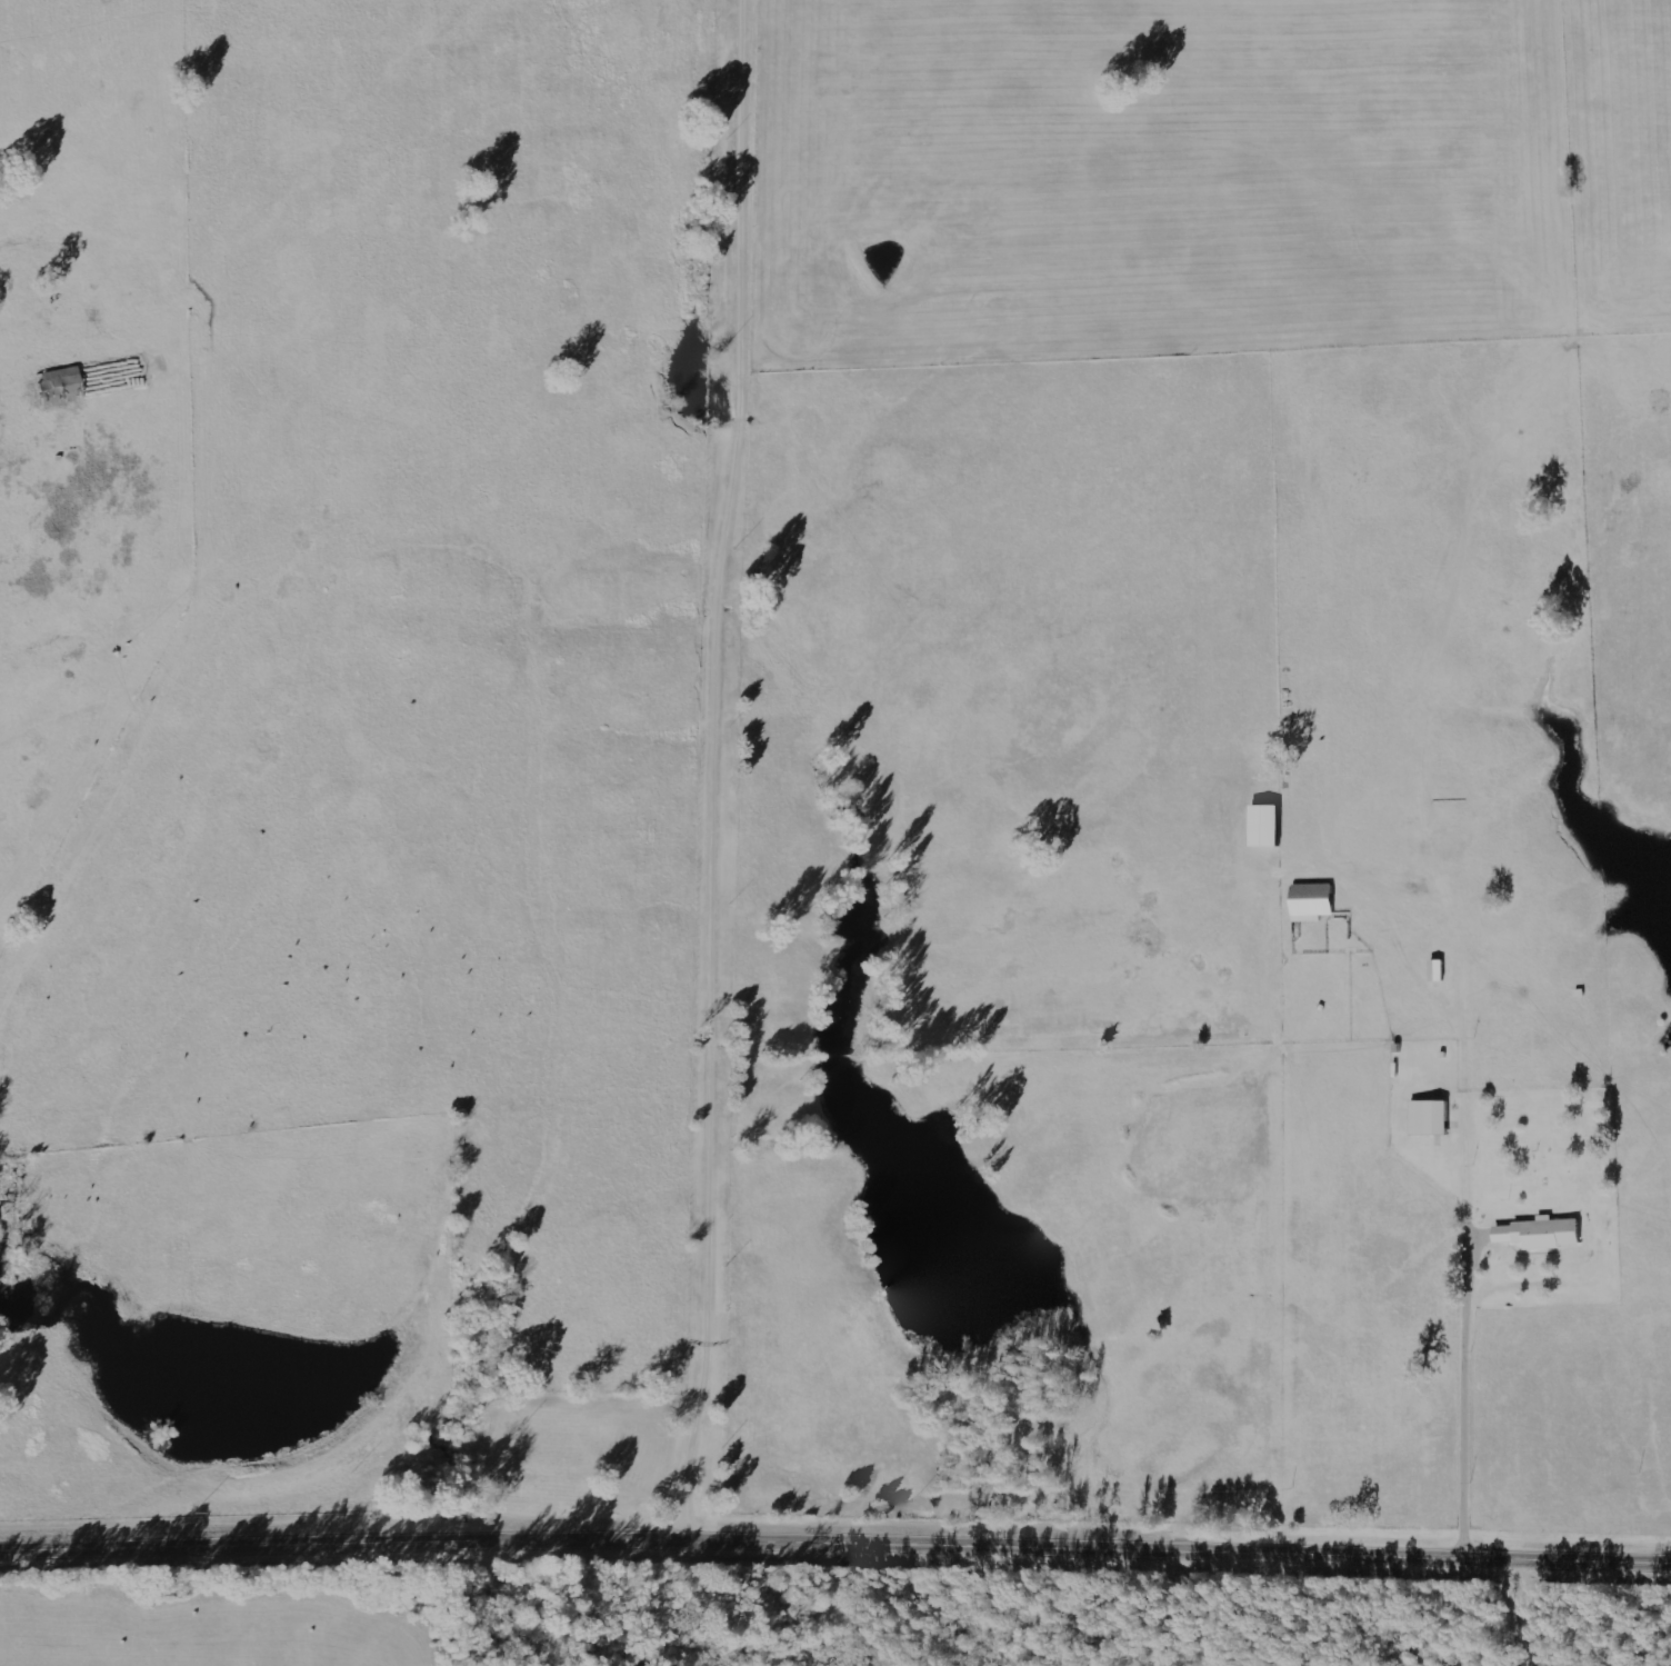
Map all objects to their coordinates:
building: (59, 385)
road: (738, 768)
building: (1269, 826)
building: (1314, 901)
building: (1432, 1117)
building: (1551, 1233)
road: (835, 1542)

